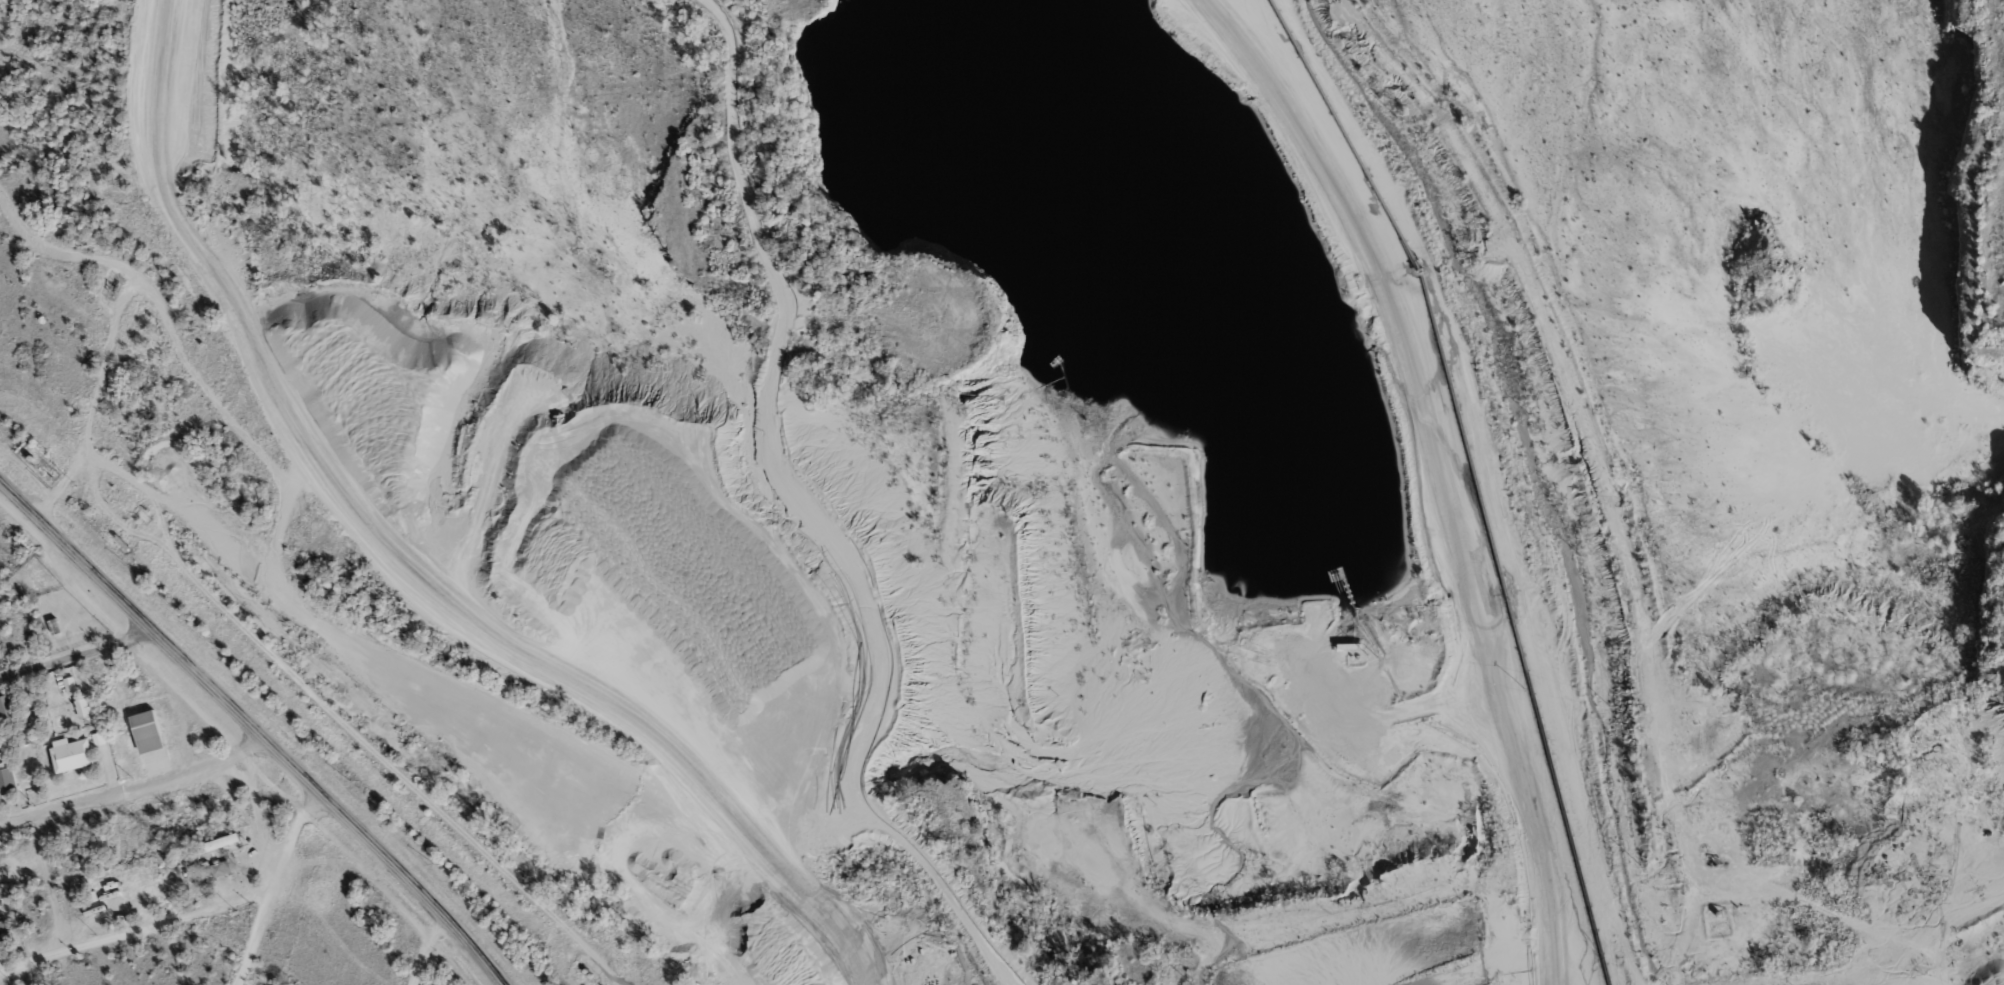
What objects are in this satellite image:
road: (196, 247)
road: (59, 252)
road: (1412, 474)
quarry: (737, 481)
road: (393, 565)
road: (75, 654)
building: (85, 706)
building: (7, 709)
road: (255, 729)
building: (148, 730)
building: (73, 754)
building: (6, 780)
road: (134, 790)
building: (192, 874)
road: (47, 884)
road: (271, 885)
road: (134, 930)
building: (6, 933)
road: (425, 950)
building: (434, 981)

